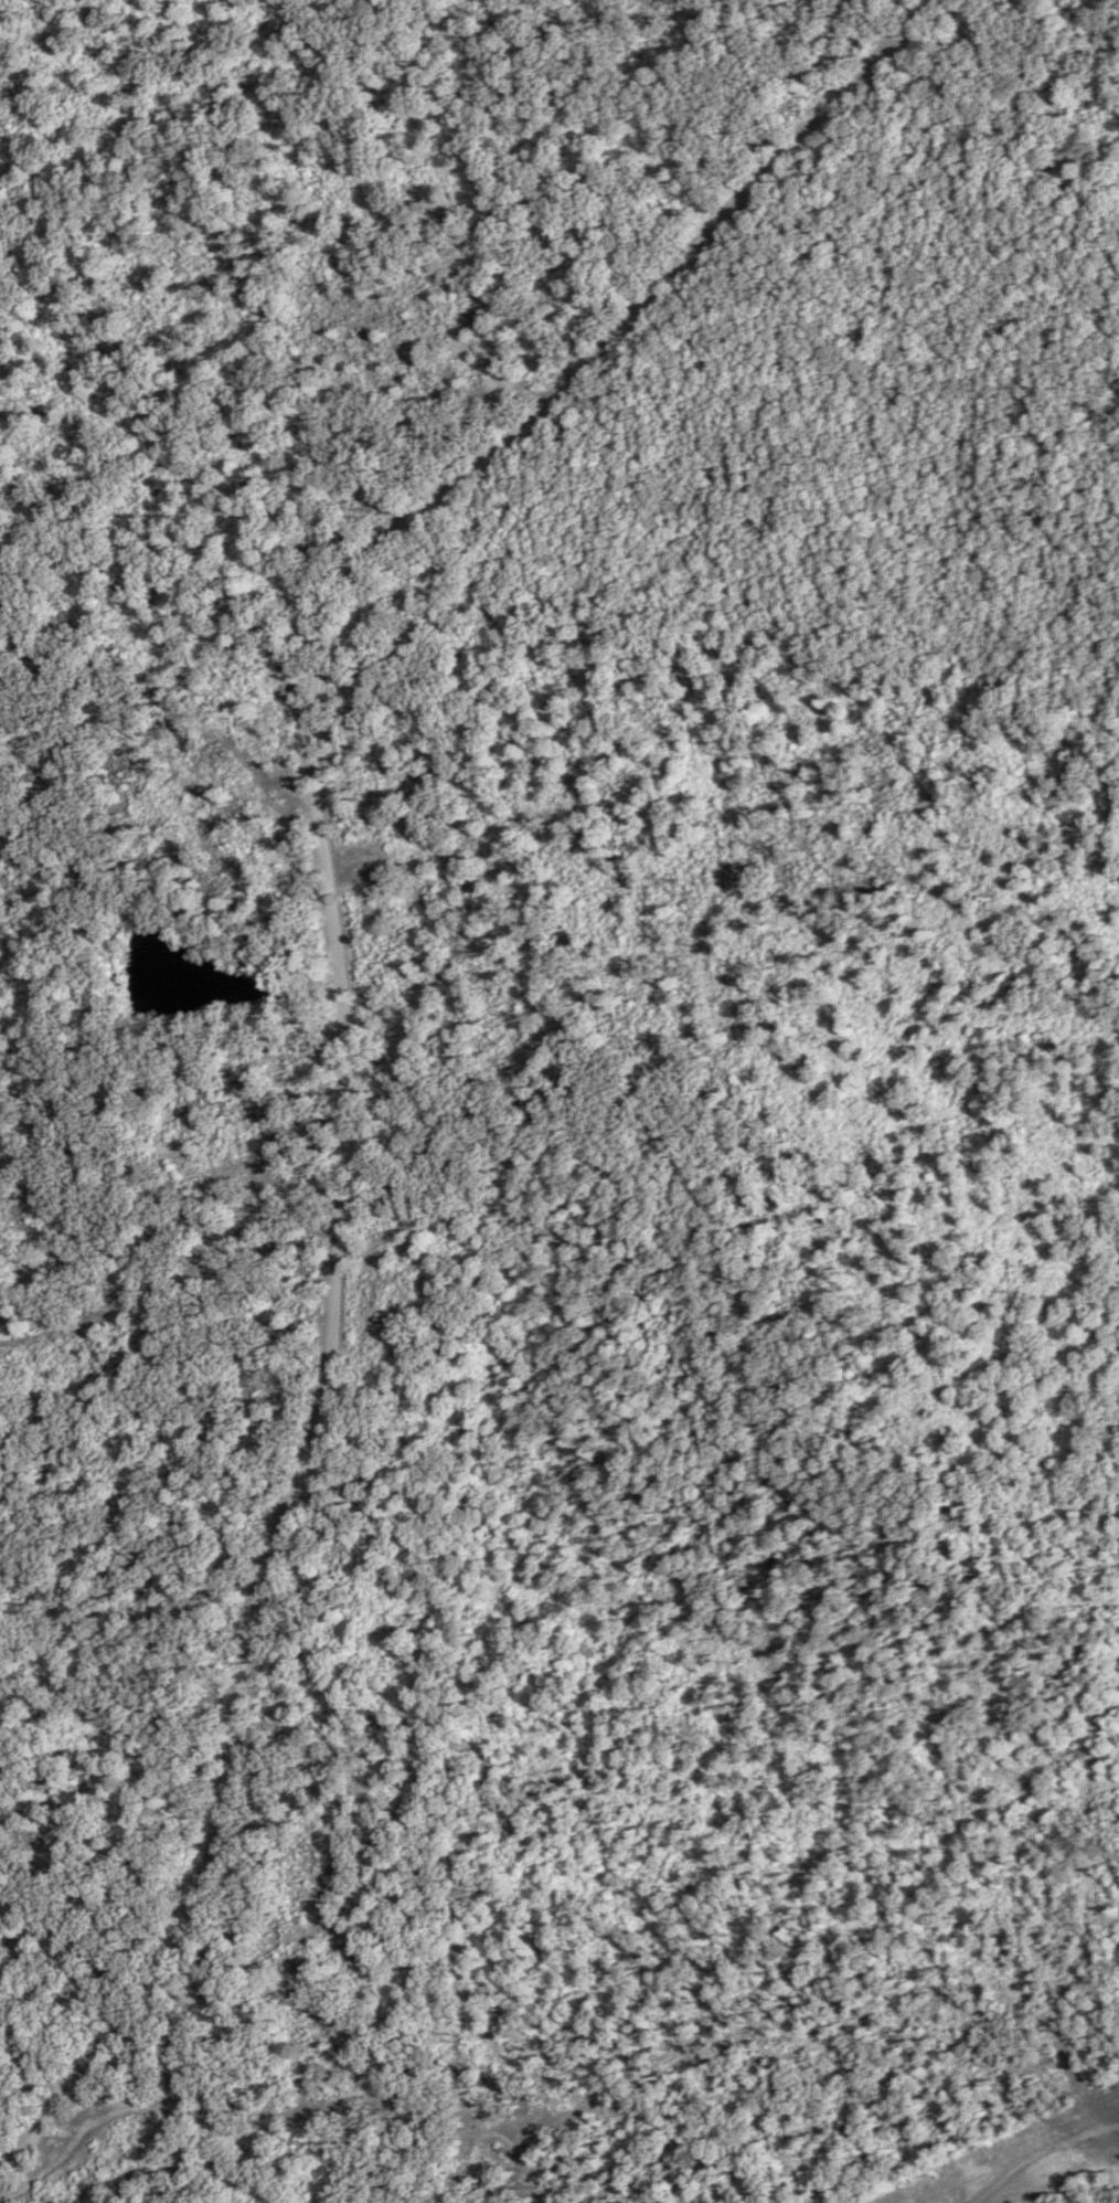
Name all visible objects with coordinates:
road: (347, 1005)
road: (206, 2107)
road: (1046, 2156)

